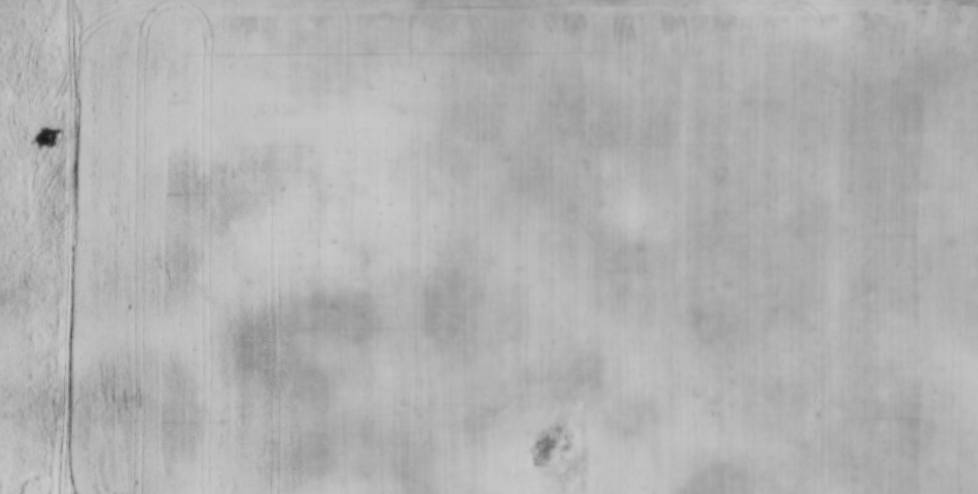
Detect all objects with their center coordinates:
road: (63, 247)

